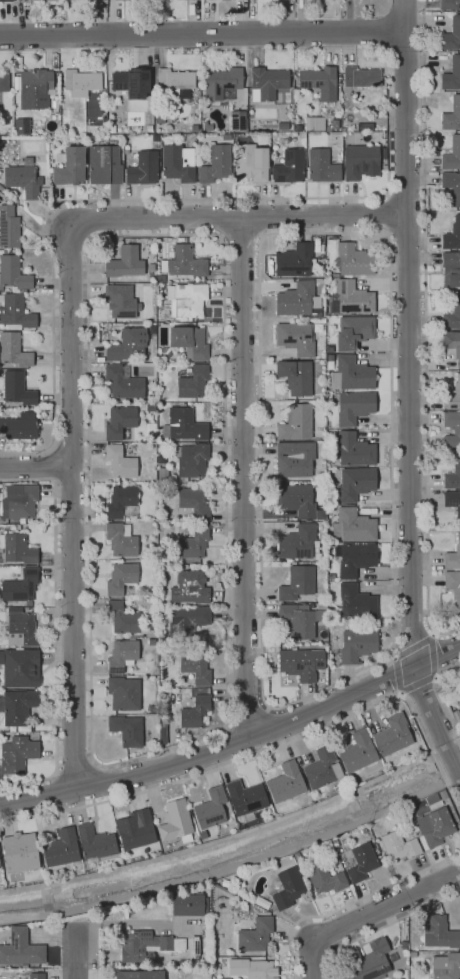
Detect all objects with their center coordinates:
building: (34, 0)
building: (6, 1)
building: (448, 4)
road: (402, 16)
road: (201, 34)
building: (451, 35)
road: (264, 47)
road: (237, 50)
road: (328, 50)
building: (451, 74)
building: (360, 77)
building: (130, 80)
building: (317, 80)
building: (80, 81)
building: (3, 82)
building: (174, 83)
building: (266, 83)
building: (221, 84)
building: (35, 89)
building: (0, 100)
building: (101, 102)
building: (54, 107)
building: (450, 113)
building: (63, 117)
building: (136, 118)
building: (158, 118)
building: (237, 121)
building: (312, 123)
building: (332, 124)
building: (21, 126)
building: (347, 126)
building: (365, 127)
building: (148, 128)
building: (110, 129)
building: (355, 135)
building: (452, 154)
building: (359, 160)
building: (177, 163)
building: (248, 163)
building: (215, 164)
building: (103, 165)
building: (68, 166)
building: (321, 166)
building: (288, 167)
building: (142, 168)
building: (22, 179)
building: (451, 187)
building: (1, 188)
road: (100, 200)
road: (388, 214)
road: (237, 218)
building: (8, 228)
building: (452, 235)
road: (239, 237)
building: (351, 260)
building: (185, 261)
building: (294, 261)
building: (123, 263)
building: (452, 267)
building: (12, 272)
building: (160, 278)
building: (352, 298)
building: (186, 299)
building: (298, 301)
building: (117, 302)
building: (15, 313)
building: (452, 315)
road: (424, 330)
building: (353, 331)
building: (294, 338)
building: (189, 342)
building: (452, 344)
building: (126, 345)
building: (13, 351)
building: (350, 374)
building: (295, 377)
building: (122, 382)
building: (192, 382)
building: (17, 389)
building: (452, 395)
building: (352, 406)
road: (408, 410)
building: (47, 415)
building: (118, 422)
building: (295, 423)
building: (182, 426)
building: (18, 427)
building: (456, 431)
building: (354, 450)
building: (293, 459)
building: (190, 460)
building: (119, 462)
road: (50, 464)
road: (35, 468)
building: (161, 474)
building: (452, 475)
road: (243, 479)
building: (354, 483)
building: (295, 500)
building: (20, 502)
building: (120, 502)
building: (452, 502)
road: (71, 504)
building: (191, 504)
building: (352, 526)
building: (120, 539)
building: (190, 543)
building: (298, 544)
building: (17, 549)
building: (453, 556)
building: (353, 558)
building: (120, 577)
building: (296, 583)
building: (21, 585)
building: (453, 586)
building: (186, 589)
building: (355, 602)
building: (15, 609)
building: (121, 618)
building: (299, 620)
building: (186, 623)
road: (56, 627)
building: (22, 629)
road: (430, 632)
building: (149, 633)
building: (356, 646)
road: (431, 653)
building: (121, 655)
building: (299, 664)
building: (24, 666)
building: (195, 668)
road: (364, 669)
road: (435, 677)
building: (124, 693)
road: (441, 695)
building: (18, 707)
building: (152, 708)
building: (456, 711)
building: (194, 713)
building: (127, 730)
road: (205, 734)
building: (180, 735)
building: (392, 735)
road: (236, 744)
road: (267, 749)
building: (17, 752)
building: (359, 754)
road: (75, 768)
building: (322, 768)
building: (285, 784)
building: (442, 794)
building: (246, 797)
building: (431, 799)
building: (211, 808)
building: (176, 821)
building: (433, 827)
building: (138, 830)
building: (96, 842)
building: (398, 846)
building: (63, 850)
building: (18, 858)
building: (360, 862)
road: (236, 865)
building: (326, 880)
building: (225, 883)
building: (288, 888)
road: (352, 902)
building: (189, 904)
road: (385, 908)
building: (242, 917)
road: (383, 926)
building: (439, 933)
building: (255, 935)
building: (145, 945)
building: (21, 948)
building: (399, 948)
road: (75, 954)
building: (413, 954)
road: (311, 959)
building: (390, 960)
building: (371, 961)
building: (445, 966)
building: (252, 968)
building: (36, 975)
building: (134, 975)
building: (173, 975)
building: (222, 978)

